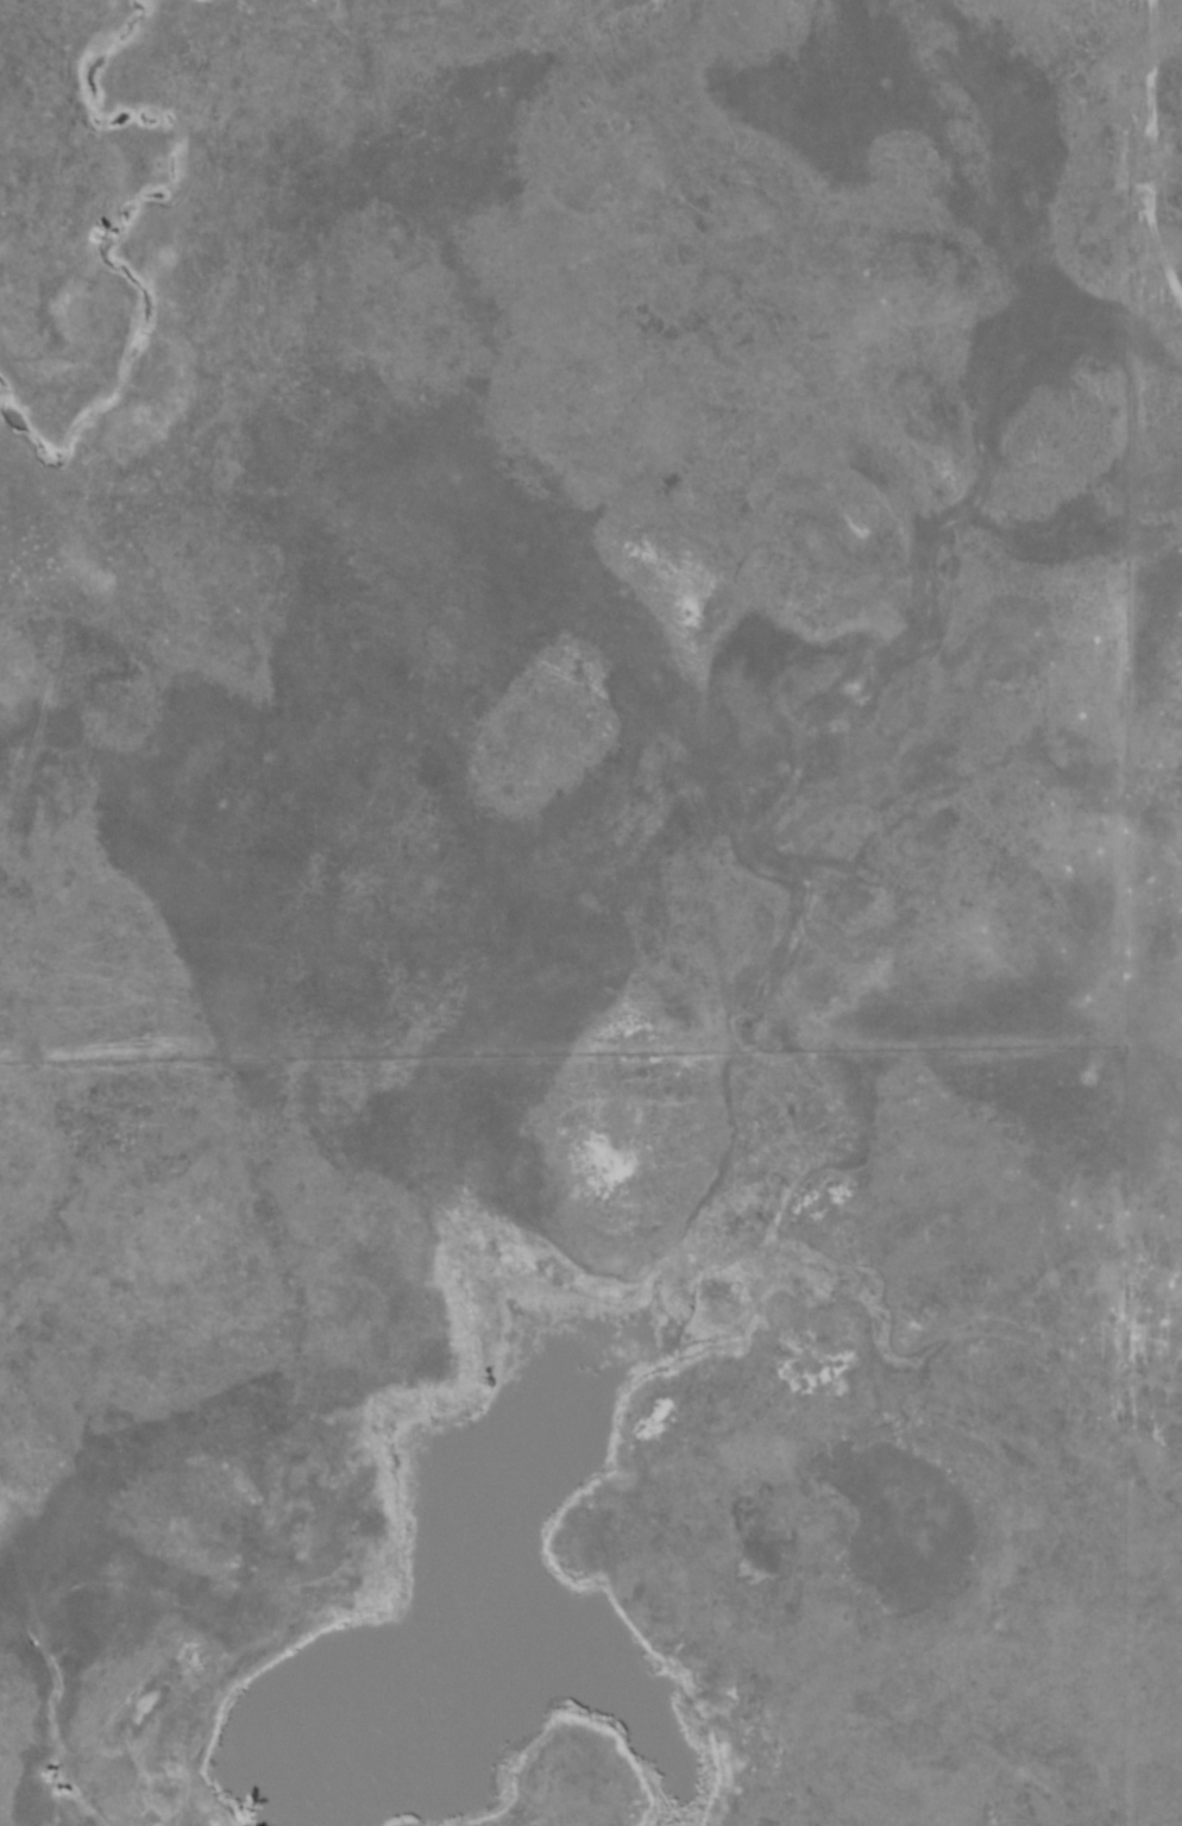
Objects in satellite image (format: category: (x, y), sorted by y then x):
road: (1176, 58)

